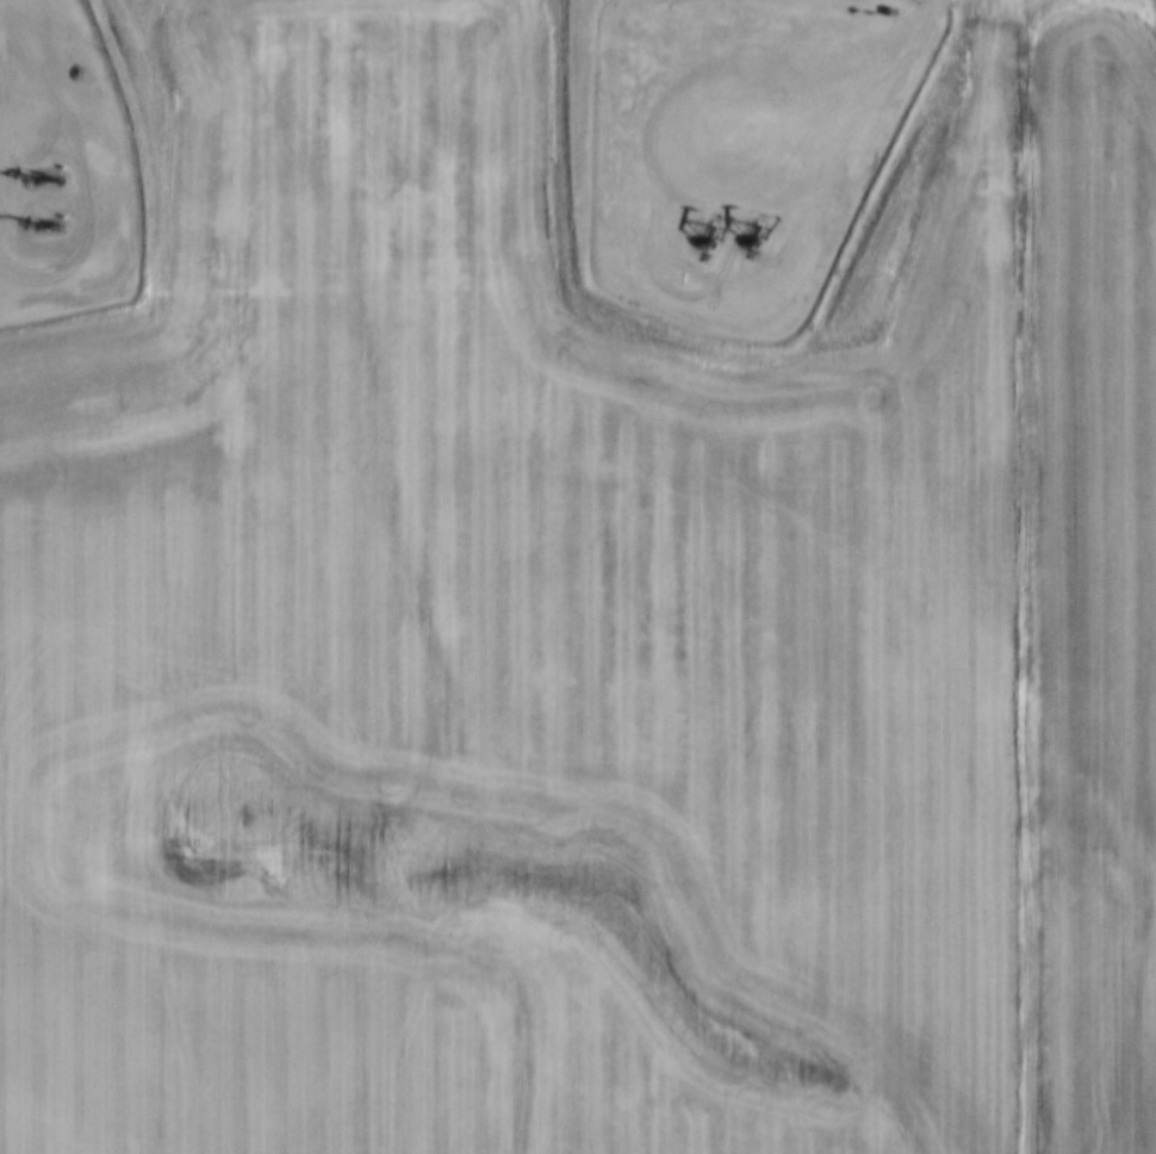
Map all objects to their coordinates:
petroleum well: (49, 175)
petroleum well: (48, 219)
road: (1021, 577)

